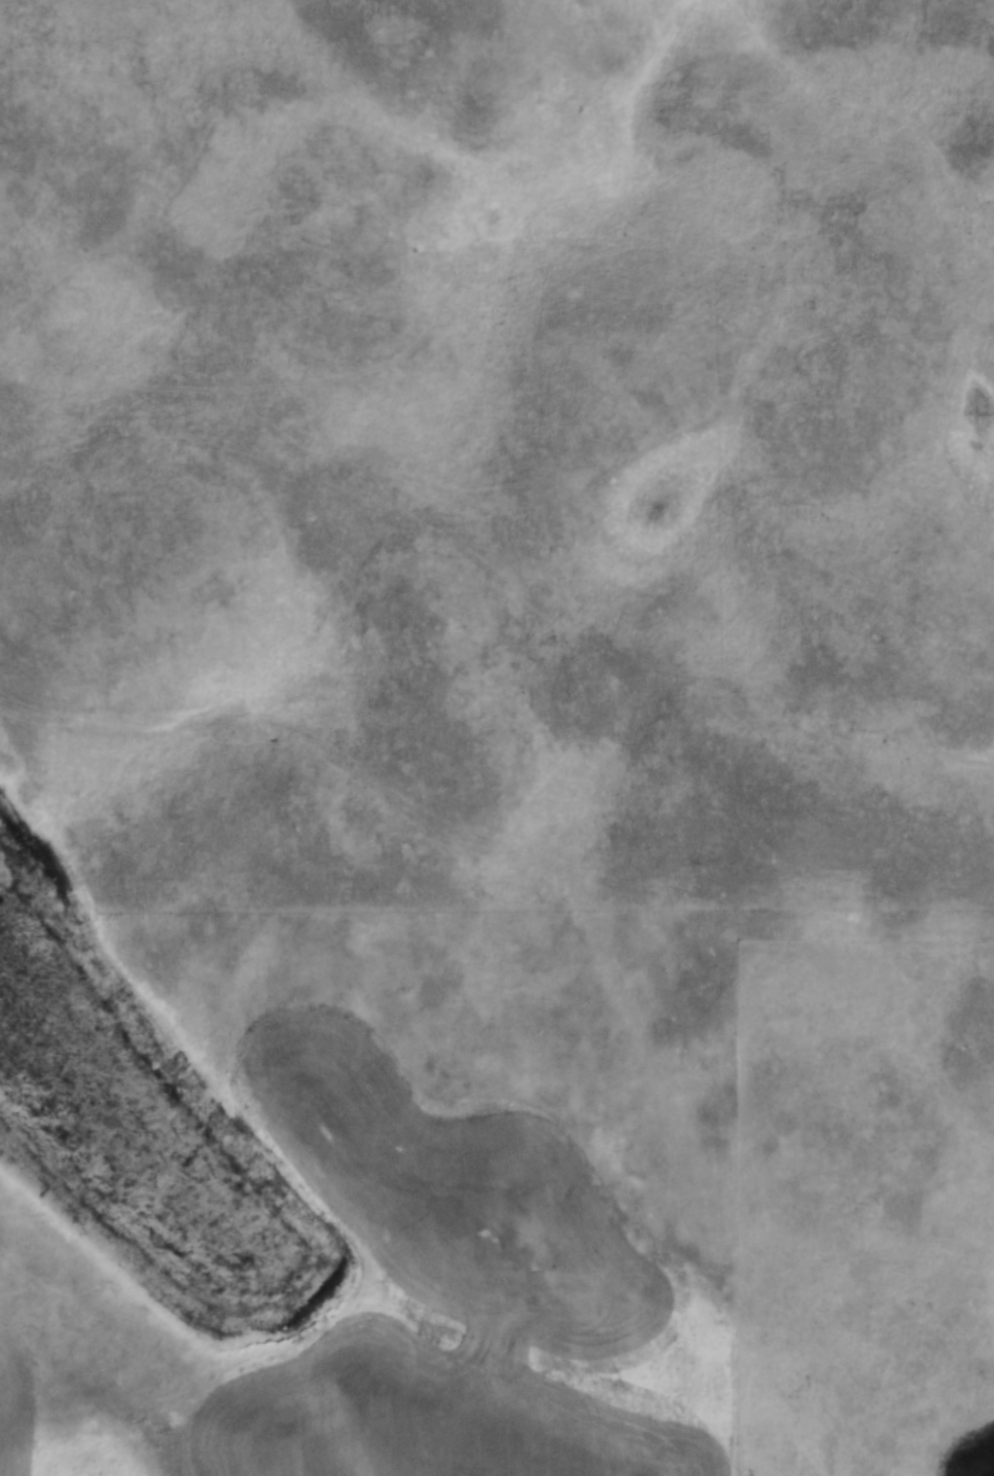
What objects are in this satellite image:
road: (720, 1201)

